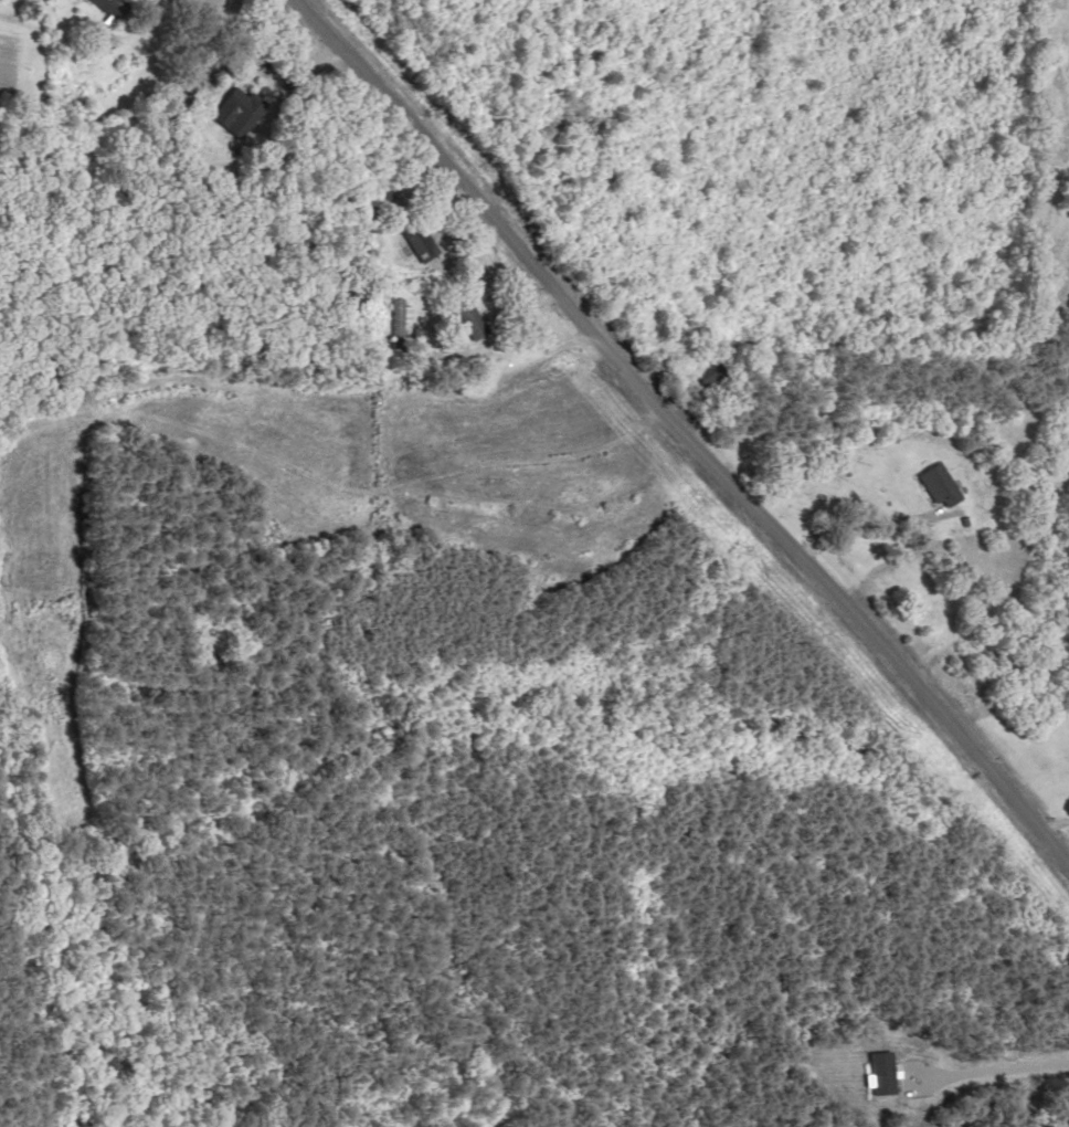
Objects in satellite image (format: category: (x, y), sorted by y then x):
building: (117, 8)
building: (240, 113)
building: (421, 243)
building: (472, 320)
building: (399, 326)
road: (691, 421)
building: (942, 485)

